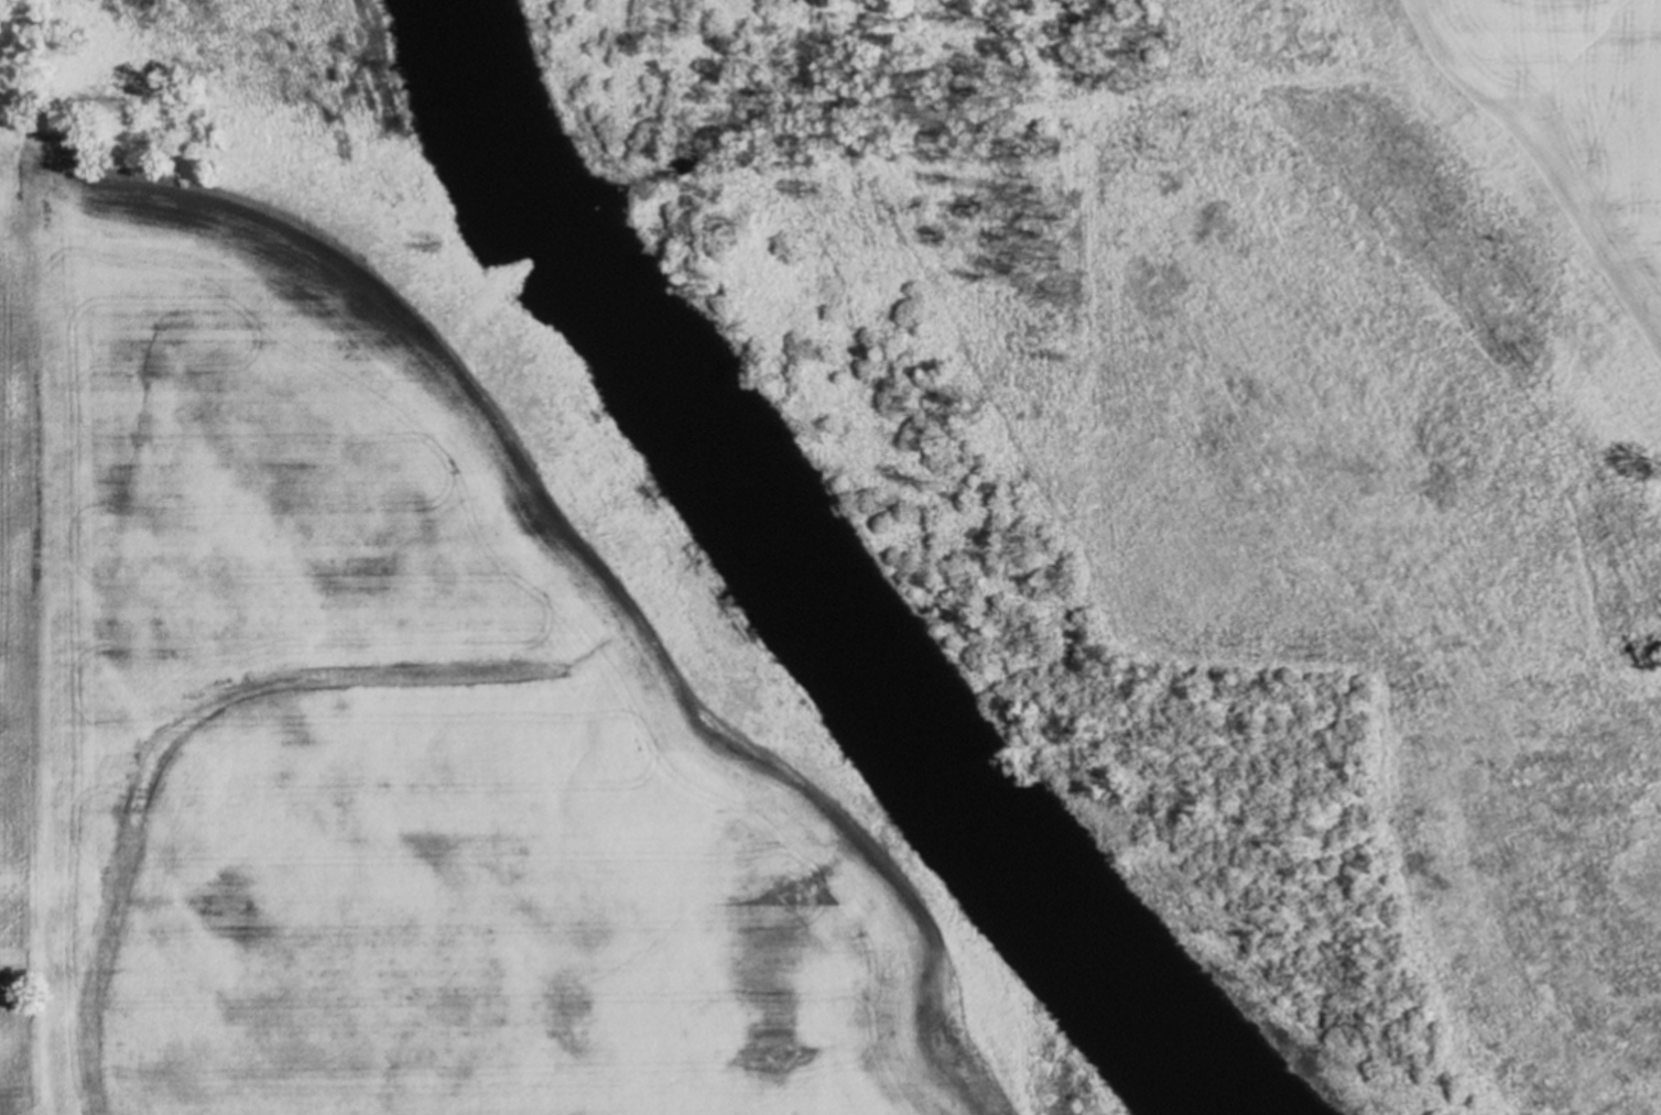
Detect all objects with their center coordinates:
river: (797, 580)

